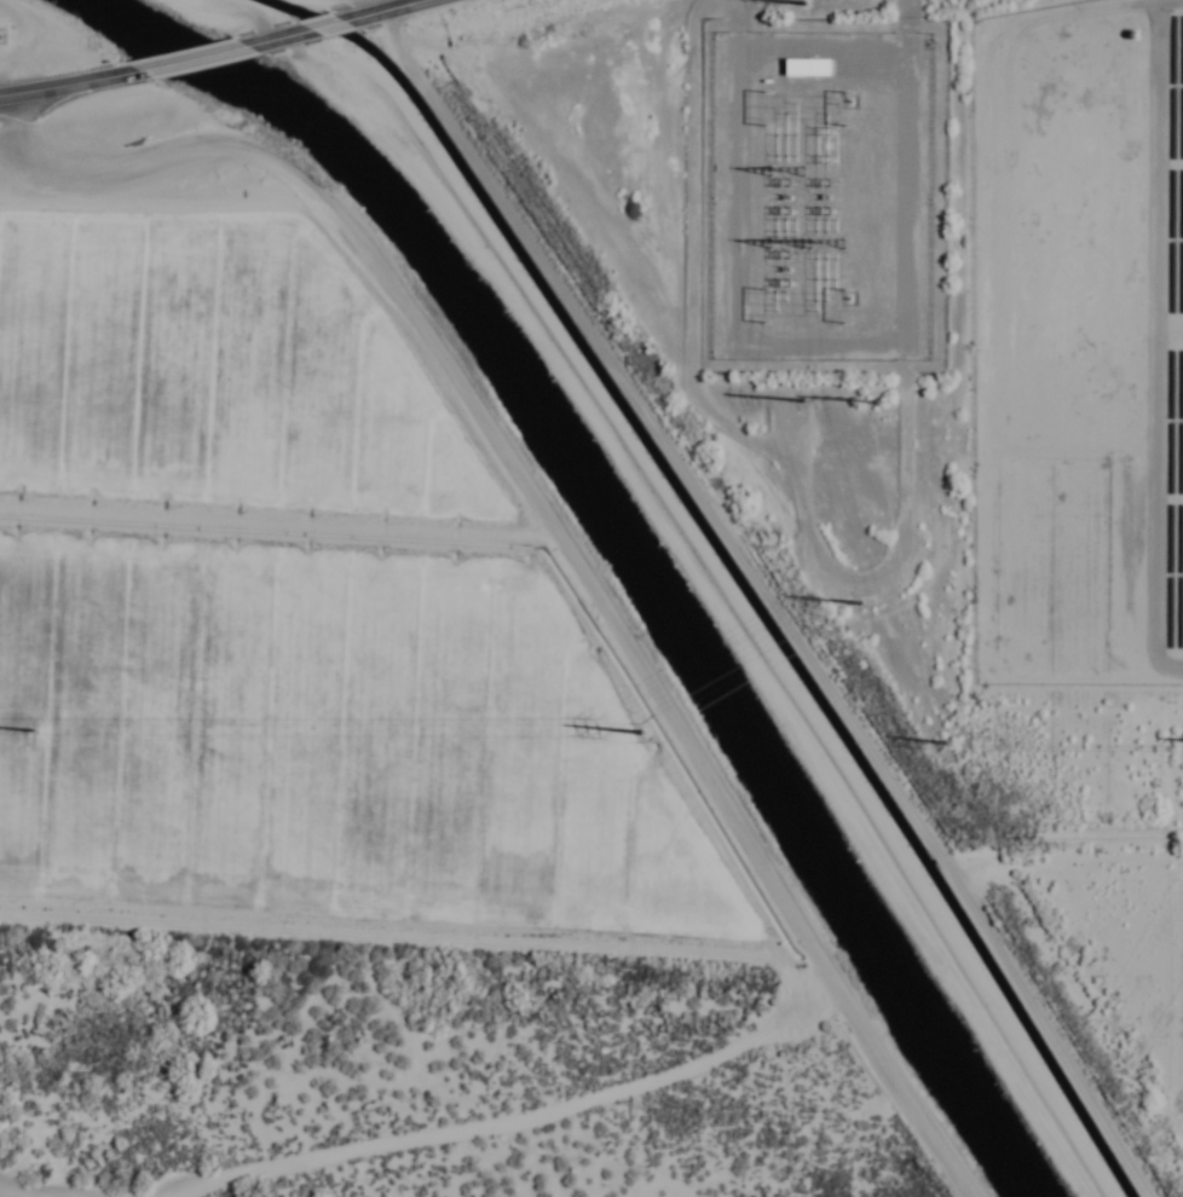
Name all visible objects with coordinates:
road: (259, 18)
road: (341, 23)
road: (203, 62)
road: (73, 79)
power substation: (821, 195)
solar farm: (1081, 347)
power tower: (803, 398)
power tower: (875, 398)
road: (721, 596)
power tower: (861, 598)
power tower: (35, 727)
power tower: (640, 727)
power tower: (945, 740)

